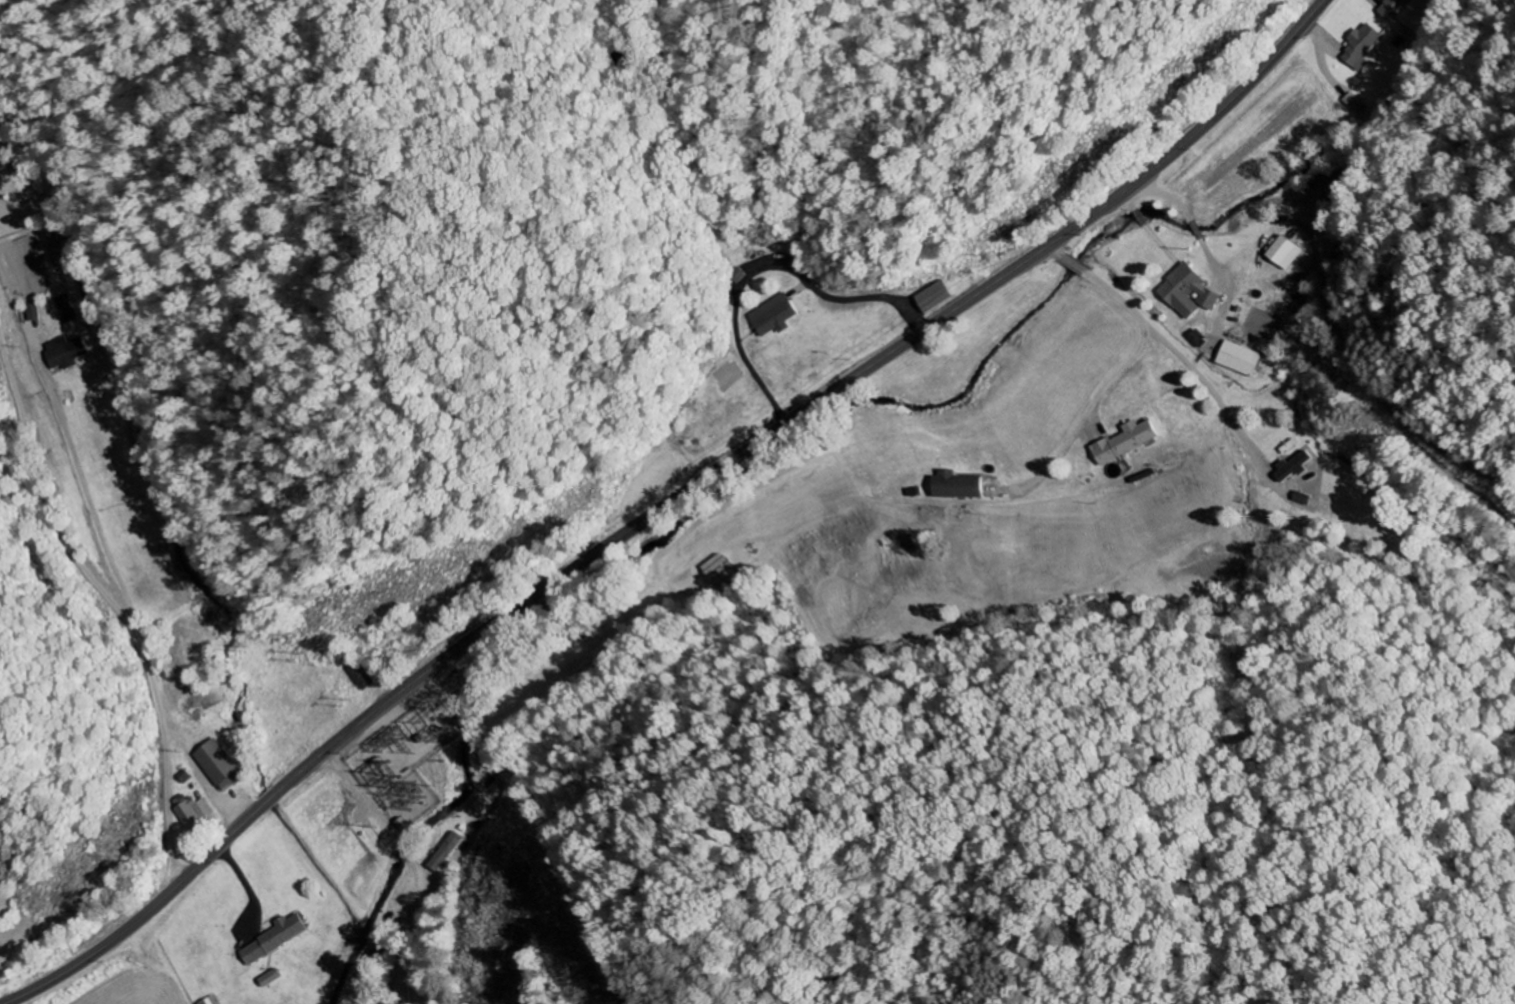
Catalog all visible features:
building: (1394, 8)
building: (1362, 45)
building: (57, 252)
building: (1285, 252)
building: (1189, 291)
building: (68, 308)
building: (33, 312)
building: (777, 315)
building: (68, 352)
building: (1242, 358)
road: (1295, 402)
road: (1084, 419)
building: (1128, 441)
building: (1294, 465)
road: (1245, 478)
building: (958, 485)
building: (1301, 498)
road: (665, 504)
road: (120, 516)
power substation: (407, 759)
building: (219, 764)
road: (368, 796)
building: (479, 805)
building: (191, 811)
road: (411, 851)
road: (861, 890)
park: (1073, 921)
road: (412, 929)
building: (277, 938)
road: (418, 967)
building: (271, 978)

